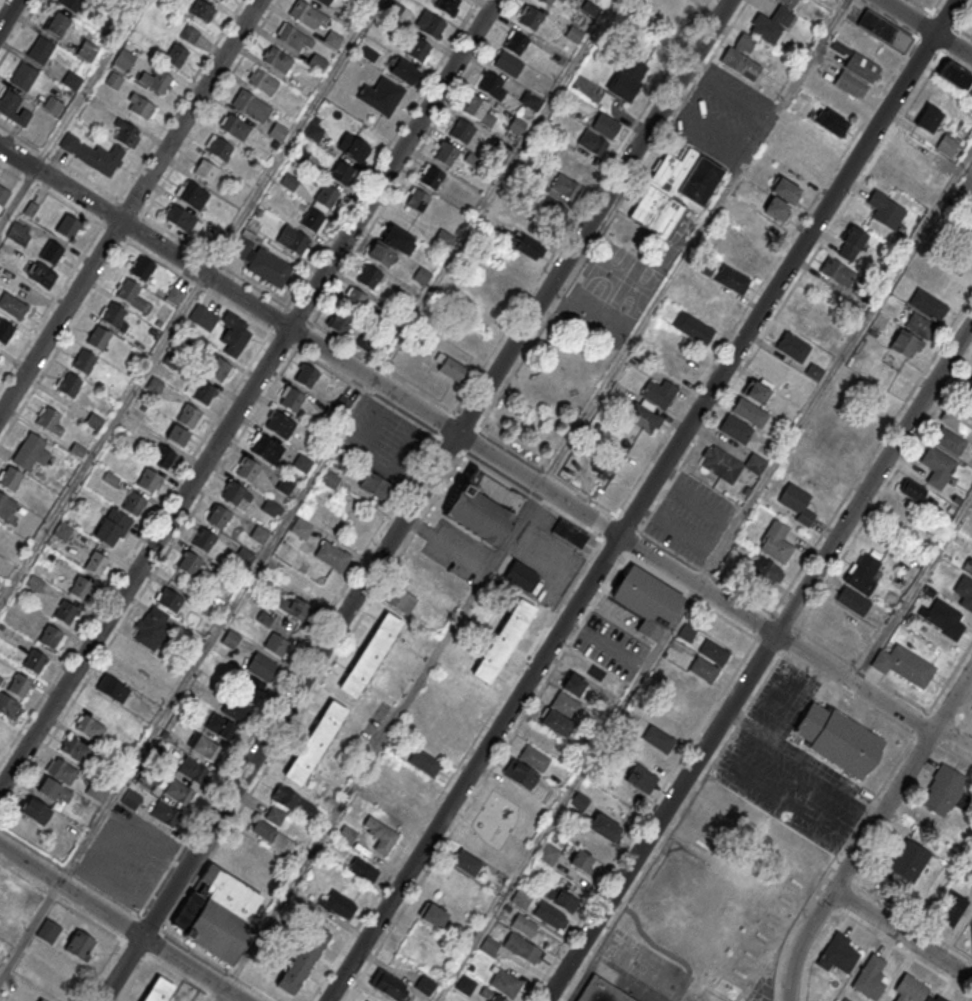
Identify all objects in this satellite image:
building: (220, 0)
building: (224, 0)
building: (561, 0)
building: (324, 2)
building: (547, 2)
building: (788, 2)
building: (71, 5)
building: (447, 5)
road: (936, 6)
road: (7, 12)
building: (202, 12)
building: (308, 16)
road: (964, 16)
building: (532, 20)
building: (55, 23)
building: (771, 24)
building: (430, 25)
road: (926, 29)
road: (19, 31)
building: (884, 32)
building: (189, 35)
building: (293, 39)
building: (333, 41)
building: (516, 44)
building: (87, 50)
building: (418, 51)
building: (40, 52)
building: (175, 56)
building: (741, 56)
building: (124, 60)
building: (278, 61)
building: (317, 64)
building: (857, 64)
building: (508, 65)
building: (403, 73)
building: (955, 74)
building: (24, 78)
building: (627, 78)
building: (71, 80)
building: (113, 81)
building: (155, 82)
building: (263, 84)
building: (490, 85)
building: (850, 85)
building: (970, 92)
building: (381, 97)
road: (179, 100)
building: (531, 100)
building: (52, 107)
building: (140, 107)
road: (210, 108)
building: (251, 108)
building: (475, 108)
building: (13, 109)
parking lot: (723, 115)
building: (829, 120)
building: (928, 120)
building: (606, 125)
building: (235, 128)
building: (315, 128)
building: (461, 132)
building: (277, 133)
building: (126, 135)
road: (291, 137)
building: (592, 143)
building: (947, 146)
building: (353, 147)
building: (218, 149)
road: (382, 153)
building: (300, 154)
building: (446, 155)
building: (810, 155)
building: (93, 156)
road: (17, 157)
building: (205, 172)
building: (341, 173)
building: (431, 178)
building: (289, 181)
building: (565, 187)
building: (785, 189)
road: (494, 190)
building: (674, 191)
building: (3, 196)
building: (193, 196)
building: (327, 197)
road: (18, 198)
road: (64, 202)
building: (417, 202)
road: (129, 206)
road: (583, 206)
building: (741, 207)
building: (549, 208)
building: (776, 208)
building: (30, 210)
building: (885, 211)
building: (182, 219)
building: (312, 220)
building: (67, 228)
building: (18, 234)
building: (443, 239)
building: (965, 239)
building: (292, 241)
building: (397, 242)
road: (692, 242)
building: (523, 243)
building: (850, 243)
building: (51, 254)
building: (381, 255)
road: (214, 261)
building: (261, 264)
building: (142, 269)
building: (837, 272)
building: (41, 275)
building: (421, 276)
building: (921, 277)
building: (369, 278)
building: (732, 278)
building: (130, 296)
building: (174, 296)
building: (354, 299)
building: (928, 305)
road: (50, 306)
building: (12, 307)
road: (286, 307)
building: (114, 317)
building: (203, 319)
building: (339, 322)
building: (693, 327)
building: (5, 333)
building: (234, 336)
building: (911, 336)
road: (334, 337)
building: (98, 339)
building: (363, 341)
building: (793, 346)
park: (575, 351)
building: (0, 354)
building: (84, 363)
building: (672, 365)
building: (449, 368)
road: (835, 368)
building: (218, 369)
building: (814, 371)
road: (243, 374)
building: (306, 377)
building: (154, 385)
building: (69, 386)
building: (969, 386)
building: (756, 389)
building: (658, 392)
building: (203, 394)
road: (247, 394)
building: (292, 401)
building: (337, 410)
building: (749, 412)
building: (643, 416)
building: (188, 417)
building: (956, 420)
building: (50, 422)
building: (94, 422)
building: (281, 426)
road: (445, 426)
building: (735, 428)
building: (632, 433)
building: (178, 437)
road: (103, 439)
building: (950, 441)
parking lot: (386, 443)
building: (77, 451)
building: (267, 451)
building: (31, 454)
building: (163, 456)
road: (501, 461)
building: (340, 462)
building: (731, 463)
building: (302, 464)
building: (937, 466)
building: (604, 467)
building: (248, 471)
building: (10, 480)
building: (330, 480)
building: (148, 482)
building: (285, 487)
building: (376, 489)
building: (912, 489)
building: (233, 494)
road: (415, 500)
road: (641, 500)
building: (797, 503)
building: (134, 505)
building: (6, 508)
building: (270, 508)
building: (479, 508)
parking lot: (691, 517)
building: (219, 518)
building: (112, 529)
building: (301, 530)
building: (62, 532)
building: (569, 533)
building: (259, 535)
road: (650, 537)
building: (204, 541)
building: (775, 542)
parking lot: (456, 551)
building: (332, 555)
building: (244, 558)
road: (631, 561)
building: (962, 562)
building: (96, 565)
building: (189, 565)
building: (767, 570)
building: (865, 573)
building: (520, 576)
building: (34, 582)
road: (147, 583)
building: (80, 589)
road: (912, 590)
building: (963, 591)
building: (852, 600)
building: (170, 601)
building: (399, 601)
building: (647, 603)
building: (295, 607)
building: (65, 614)
building: (942, 618)
road: (671, 628)
building: (152, 630)
building: (687, 633)
building: (49, 638)
building: (230, 640)
building: (503, 640)
building: (604, 644)
road: (606, 645)
building: (277, 646)
building: (713, 651)
building: (370, 658)
road: (758, 661)
building: (34, 663)
building: (903, 664)
building: (262, 666)
building: (703, 669)
road: (949, 680)
building: (573, 684)
building: (19, 687)
building: (112, 690)
building: (240, 703)
building: (565, 703)
building: (682, 704)
building: (8, 709)
parking lot: (375, 720)
road: (958, 720)
building: (555, 722)
building: (219, 727)
building: (89, 729)
building: (451, 729)
building: (838, 738)
building: (658, 739)
building: (315, 746)
building: (206, 749)
building: (75, 750)
building: (424, 761)
parking lot: (788, 764)
building: (526, 766)
building: (191, 770)
building: (61, 772)
building: (641, 778)
building: (54, 790)
building: (97, 790)
building: (945, 790)
building: (177, 792)
building: (130, 800)
building: (293, 803)
building: (35, 810)
building: (163, 814)
building: (275, 816)
building: (603, 826)
road: (672, 828)
road: (870, 831)
building: (346, 834)
building: (380, 834)
building: (273, 838)
building: (588, 852)
building: (548, 853)
parking lot: (127, 856)
building: (909, 861)
building: (466, 862)
building: (363, 869)
building: (562, 897)
building: (521, 898)
building: (340, 903)
building: (952, 909)
building: (218, 914)
building: (434, 915)
building: (551, 915)
road: (121, 923)
building: (523, 925)
road: (29, 931)
building: (47, 931)
road: (902, 934)
building: (79, 945)
building: (489, 945)
building: (523, 948)
building: (838, 953)
building: (302, 957)
building: (871, 976)
building: (505, 982)
building: (388, 984)
building: (425, 985)
building: (465, 985)
building: (158, 990)
building: (909, 990)
building: (602, 991)
building: (492, 995)
road: (223, 996)
building: (935, 998)
building: (41, 999)
building: (363, 1000)

